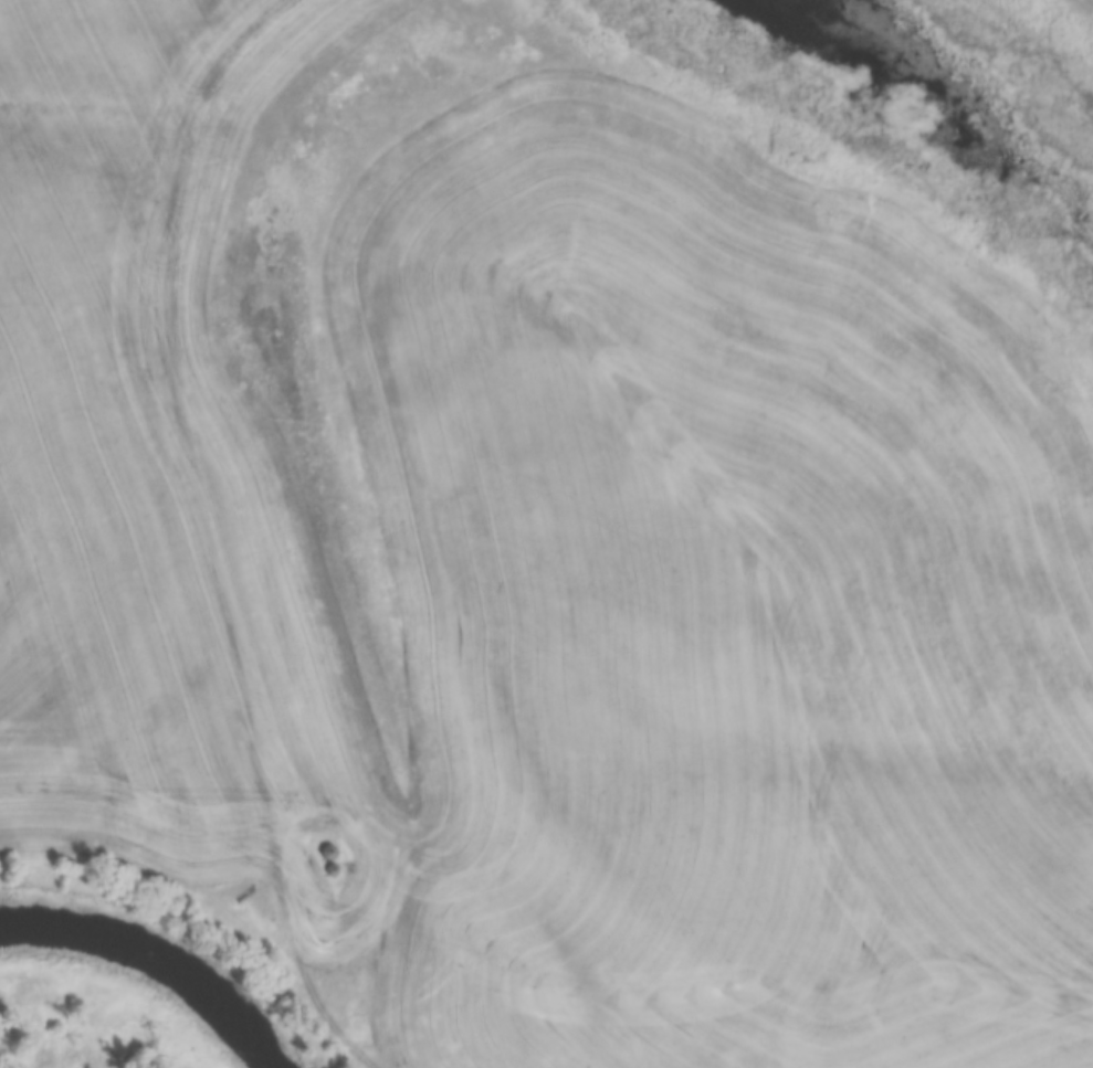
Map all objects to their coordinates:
road: (208, 531)
building: (560, 594)
building: (325, 853)
river: (150, 959)

